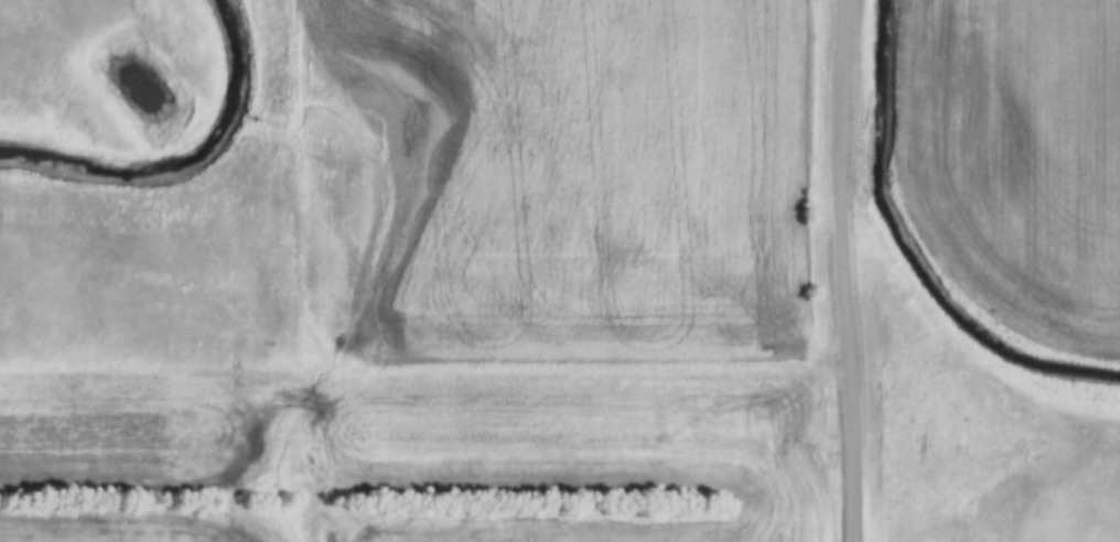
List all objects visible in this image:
road: (847, 271)

